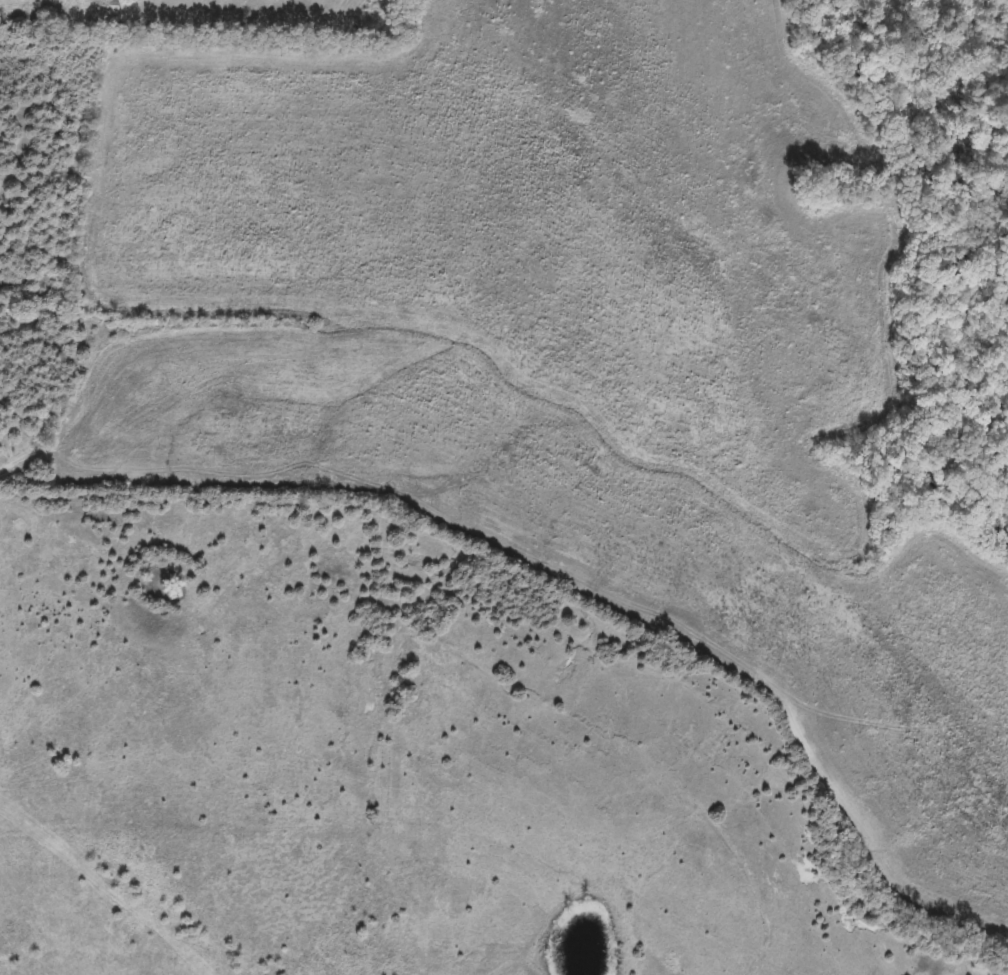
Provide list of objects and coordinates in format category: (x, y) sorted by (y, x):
building: (110, 8)

